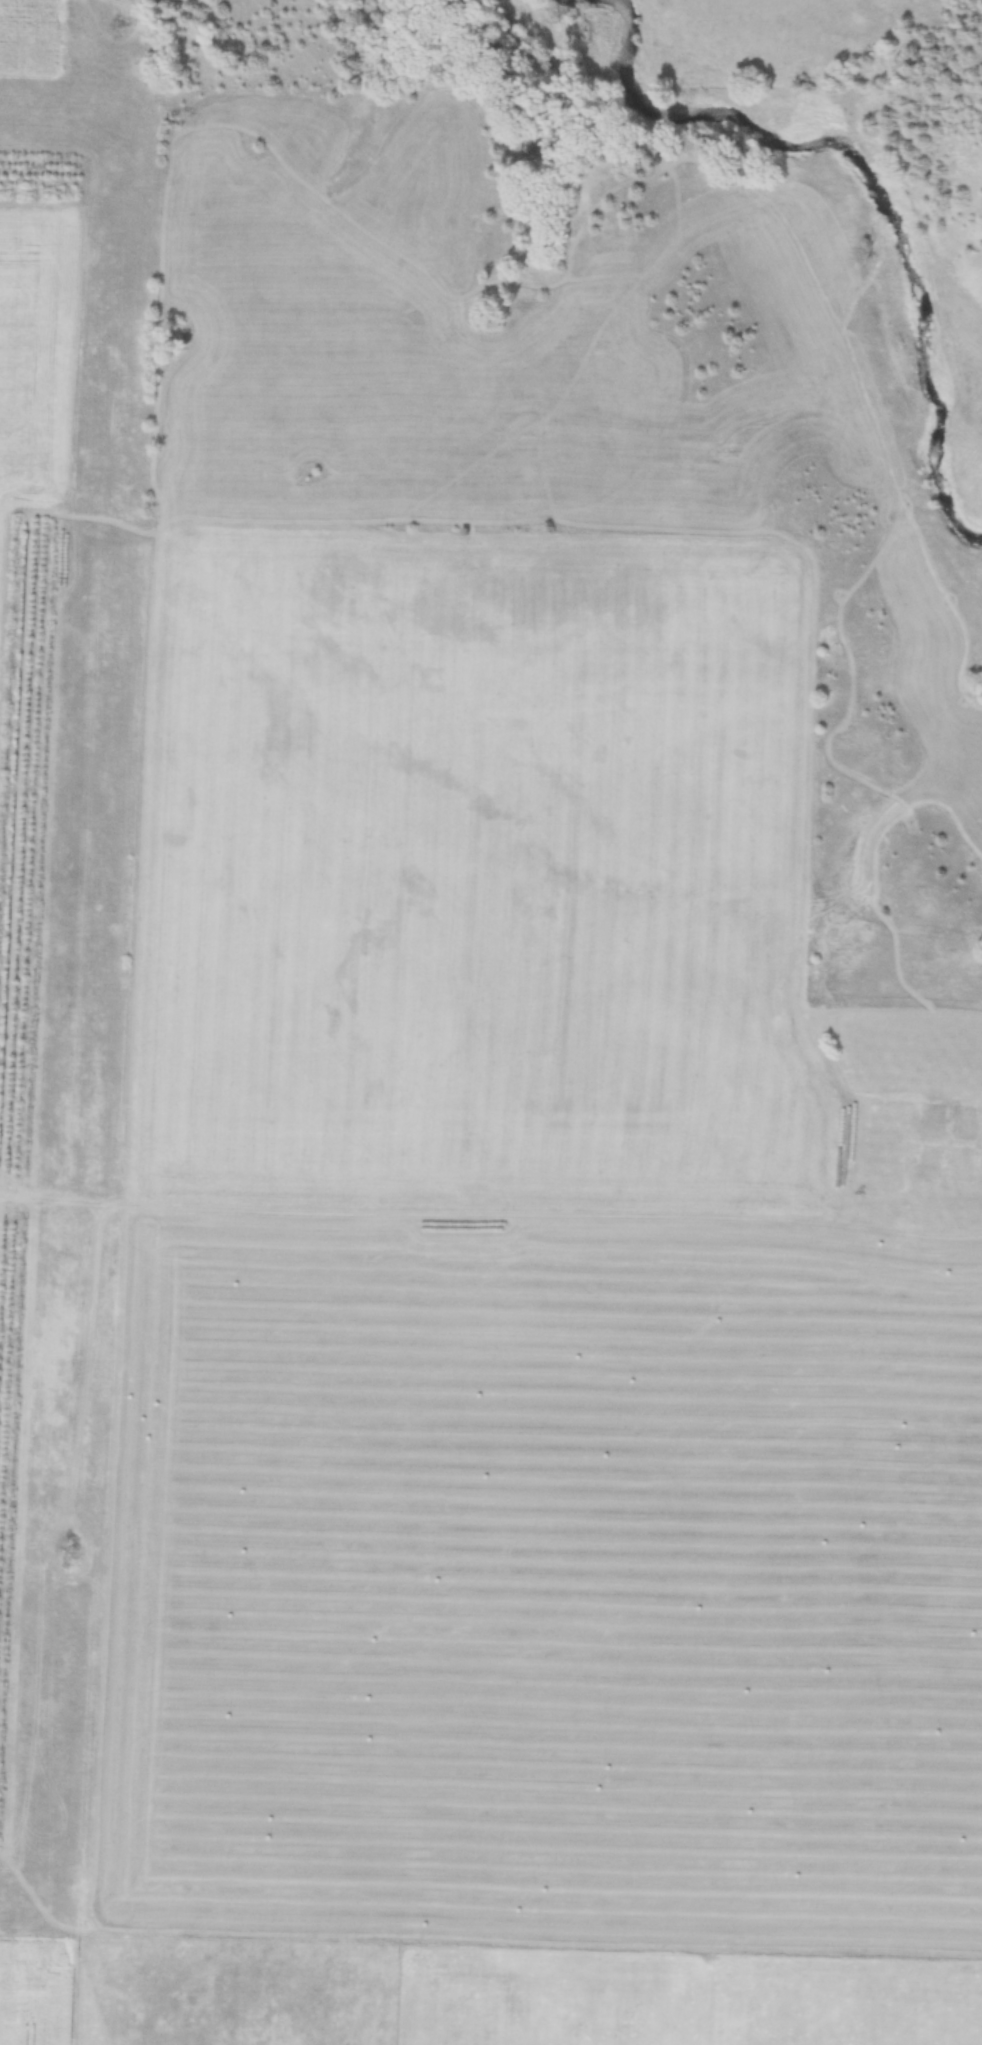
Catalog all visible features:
river: (877, 178)

